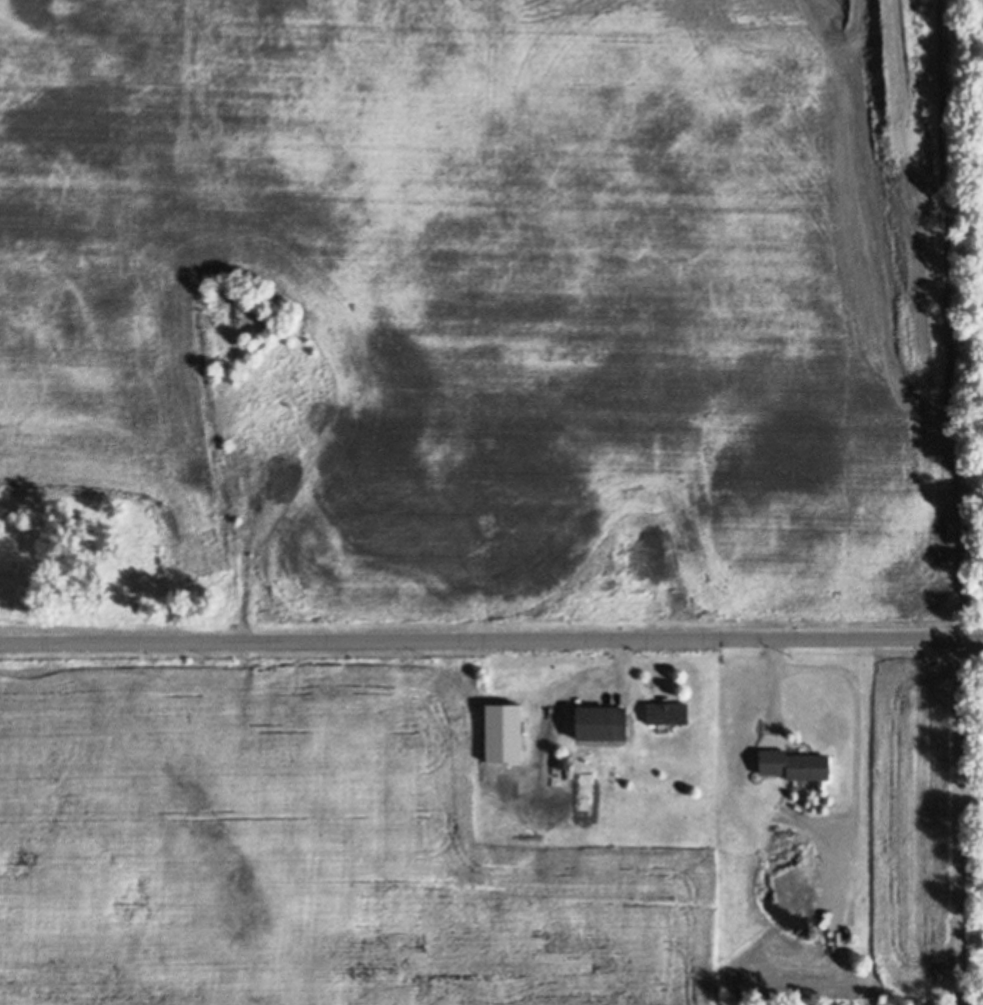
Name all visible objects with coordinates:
road: (974, 639)
road: (482, 643)
road: (783, 698)
building: (669, 711)
building: (506, 712)
road: (865, 715)
building: (603, 722)
building: (565, 759)
building: (796, 762)
building: (799, 783)
building: (812, 795)

